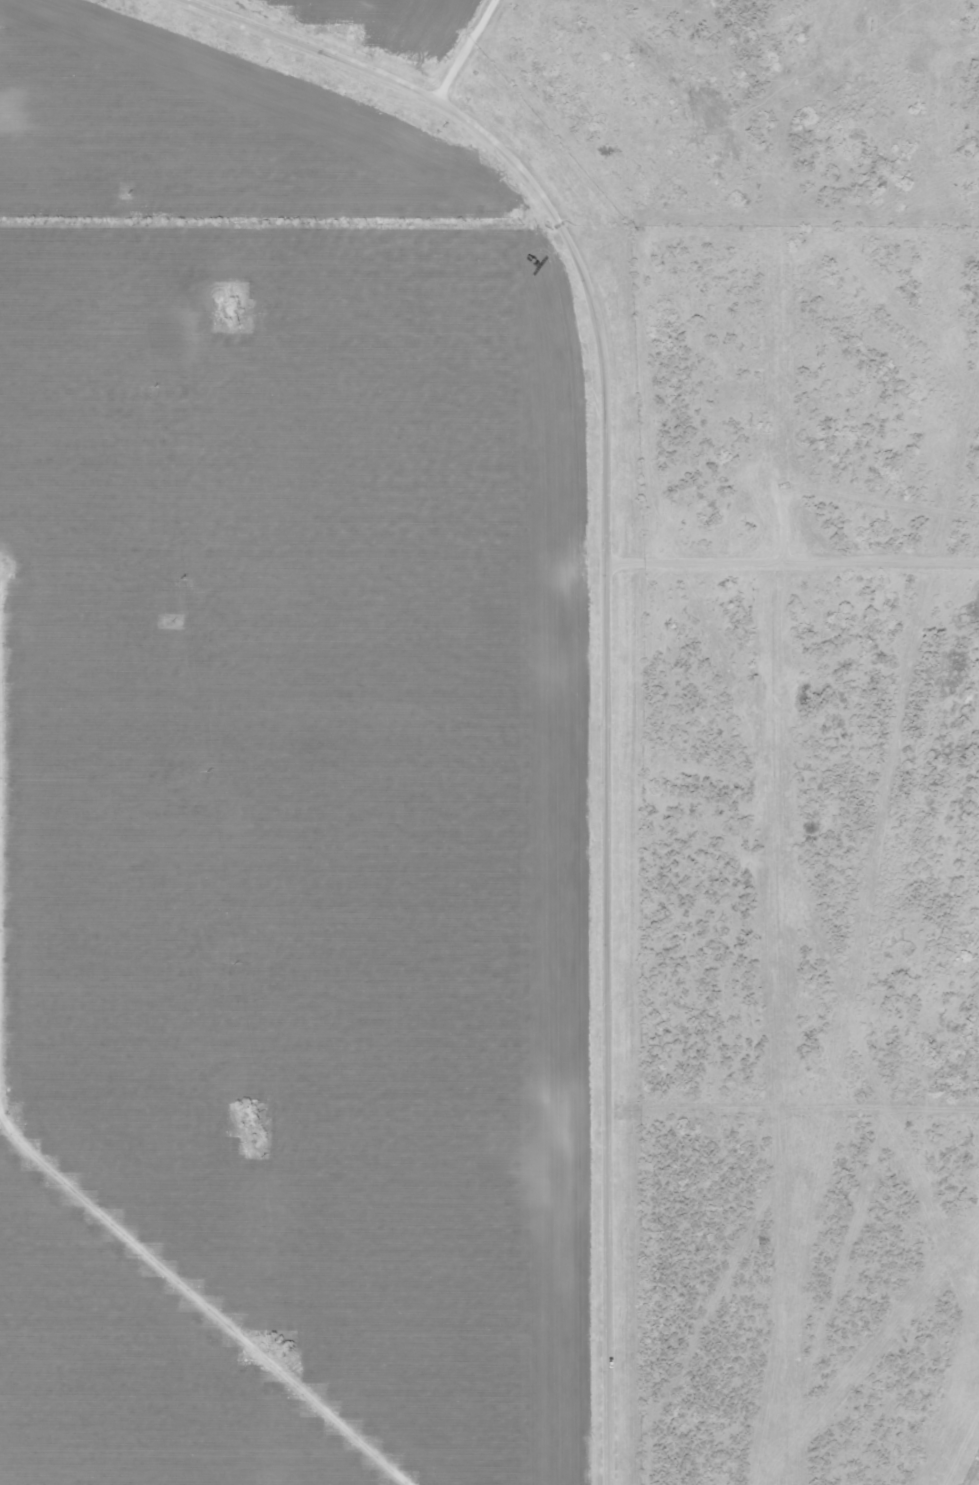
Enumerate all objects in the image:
road: (461, 47)
road: (790, 563)
road: (602, 627)
road: (798, 1119)
road: (189, 1267)

